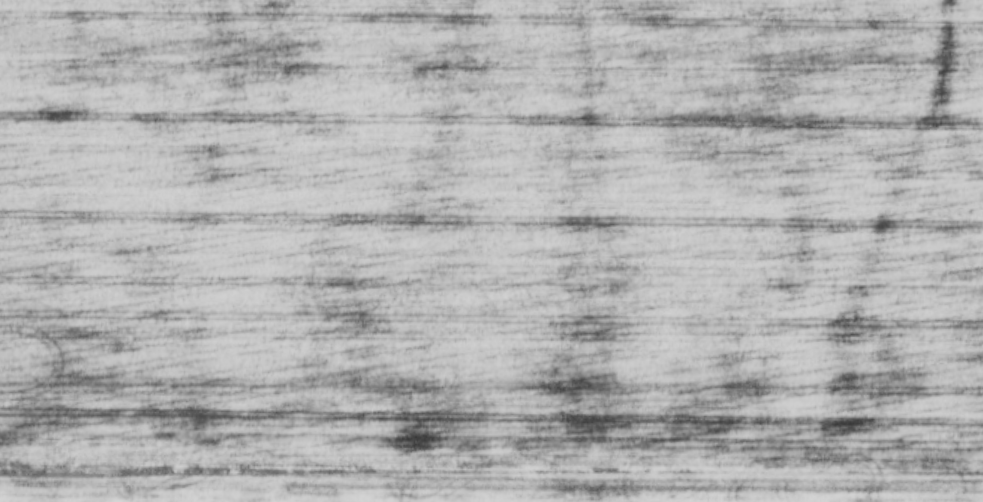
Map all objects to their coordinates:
crop: (491, 251)

